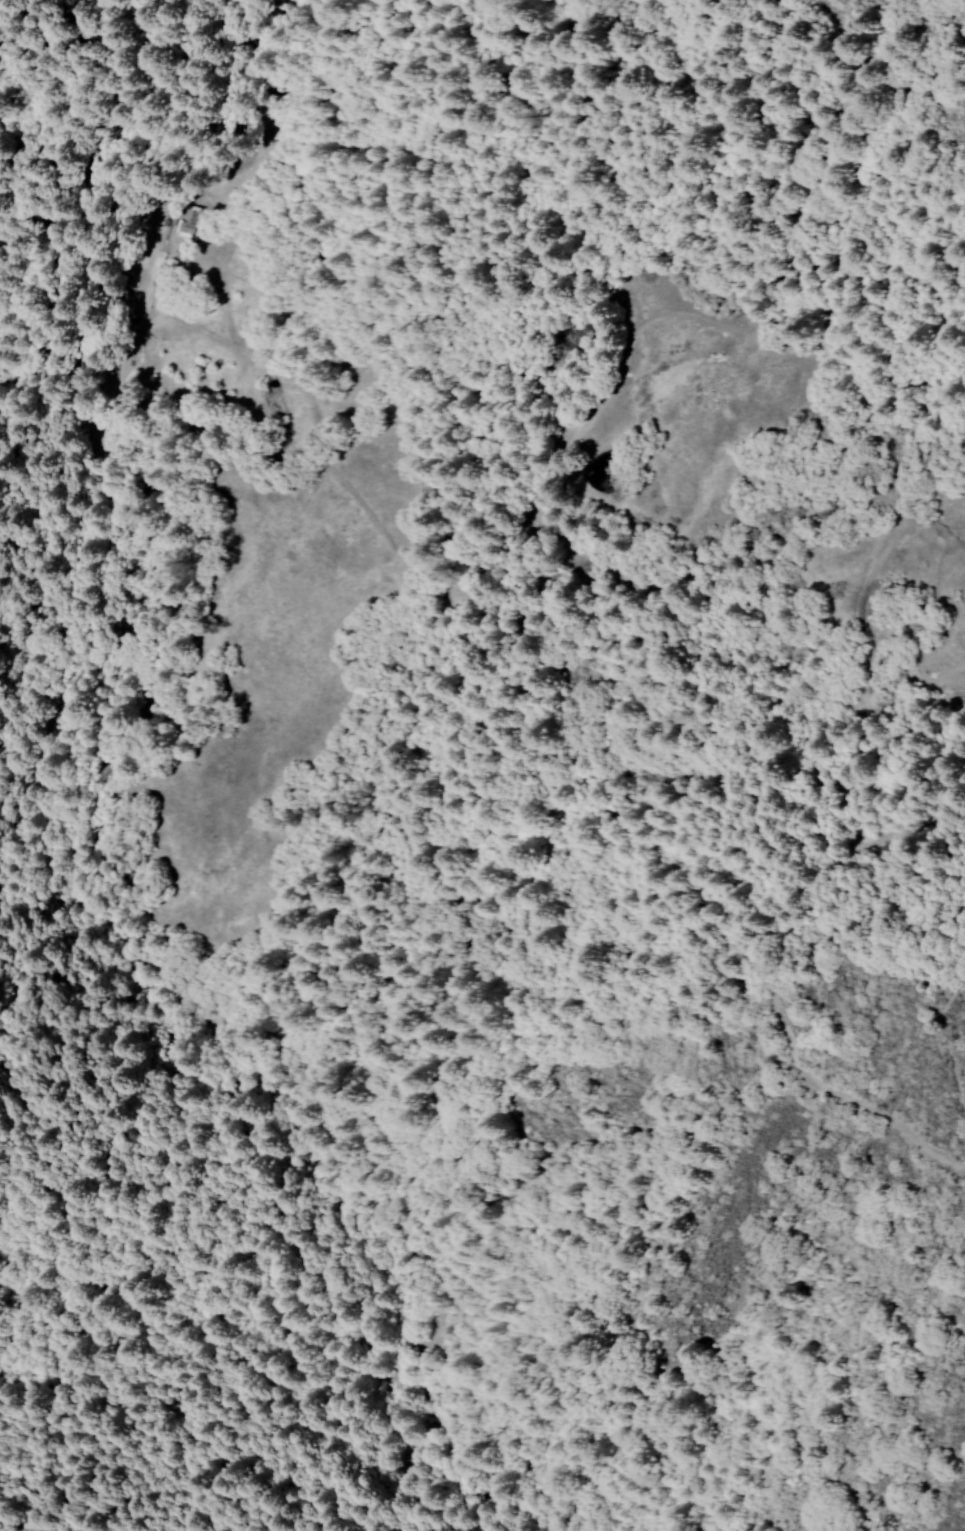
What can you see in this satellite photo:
road: (15, 27)
road: (81, 280)
road: (28, 993)

